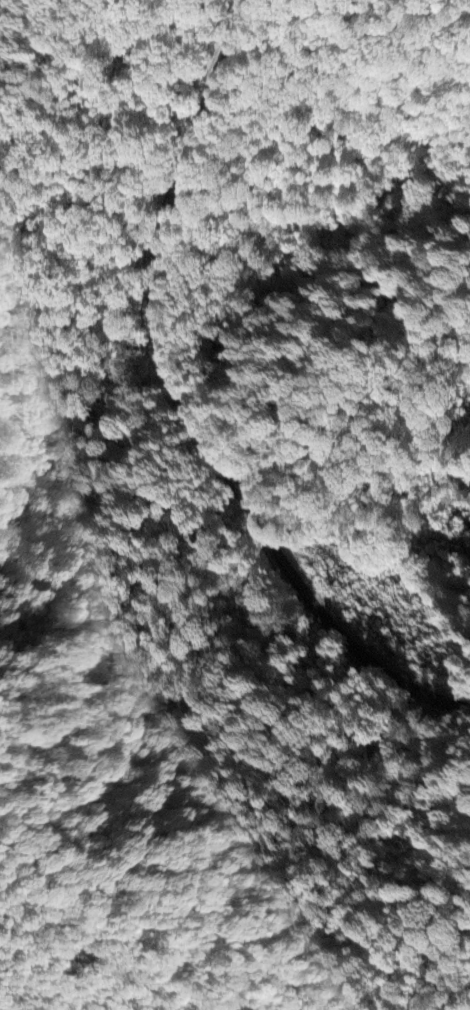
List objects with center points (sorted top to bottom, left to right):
road: (183, 405)

